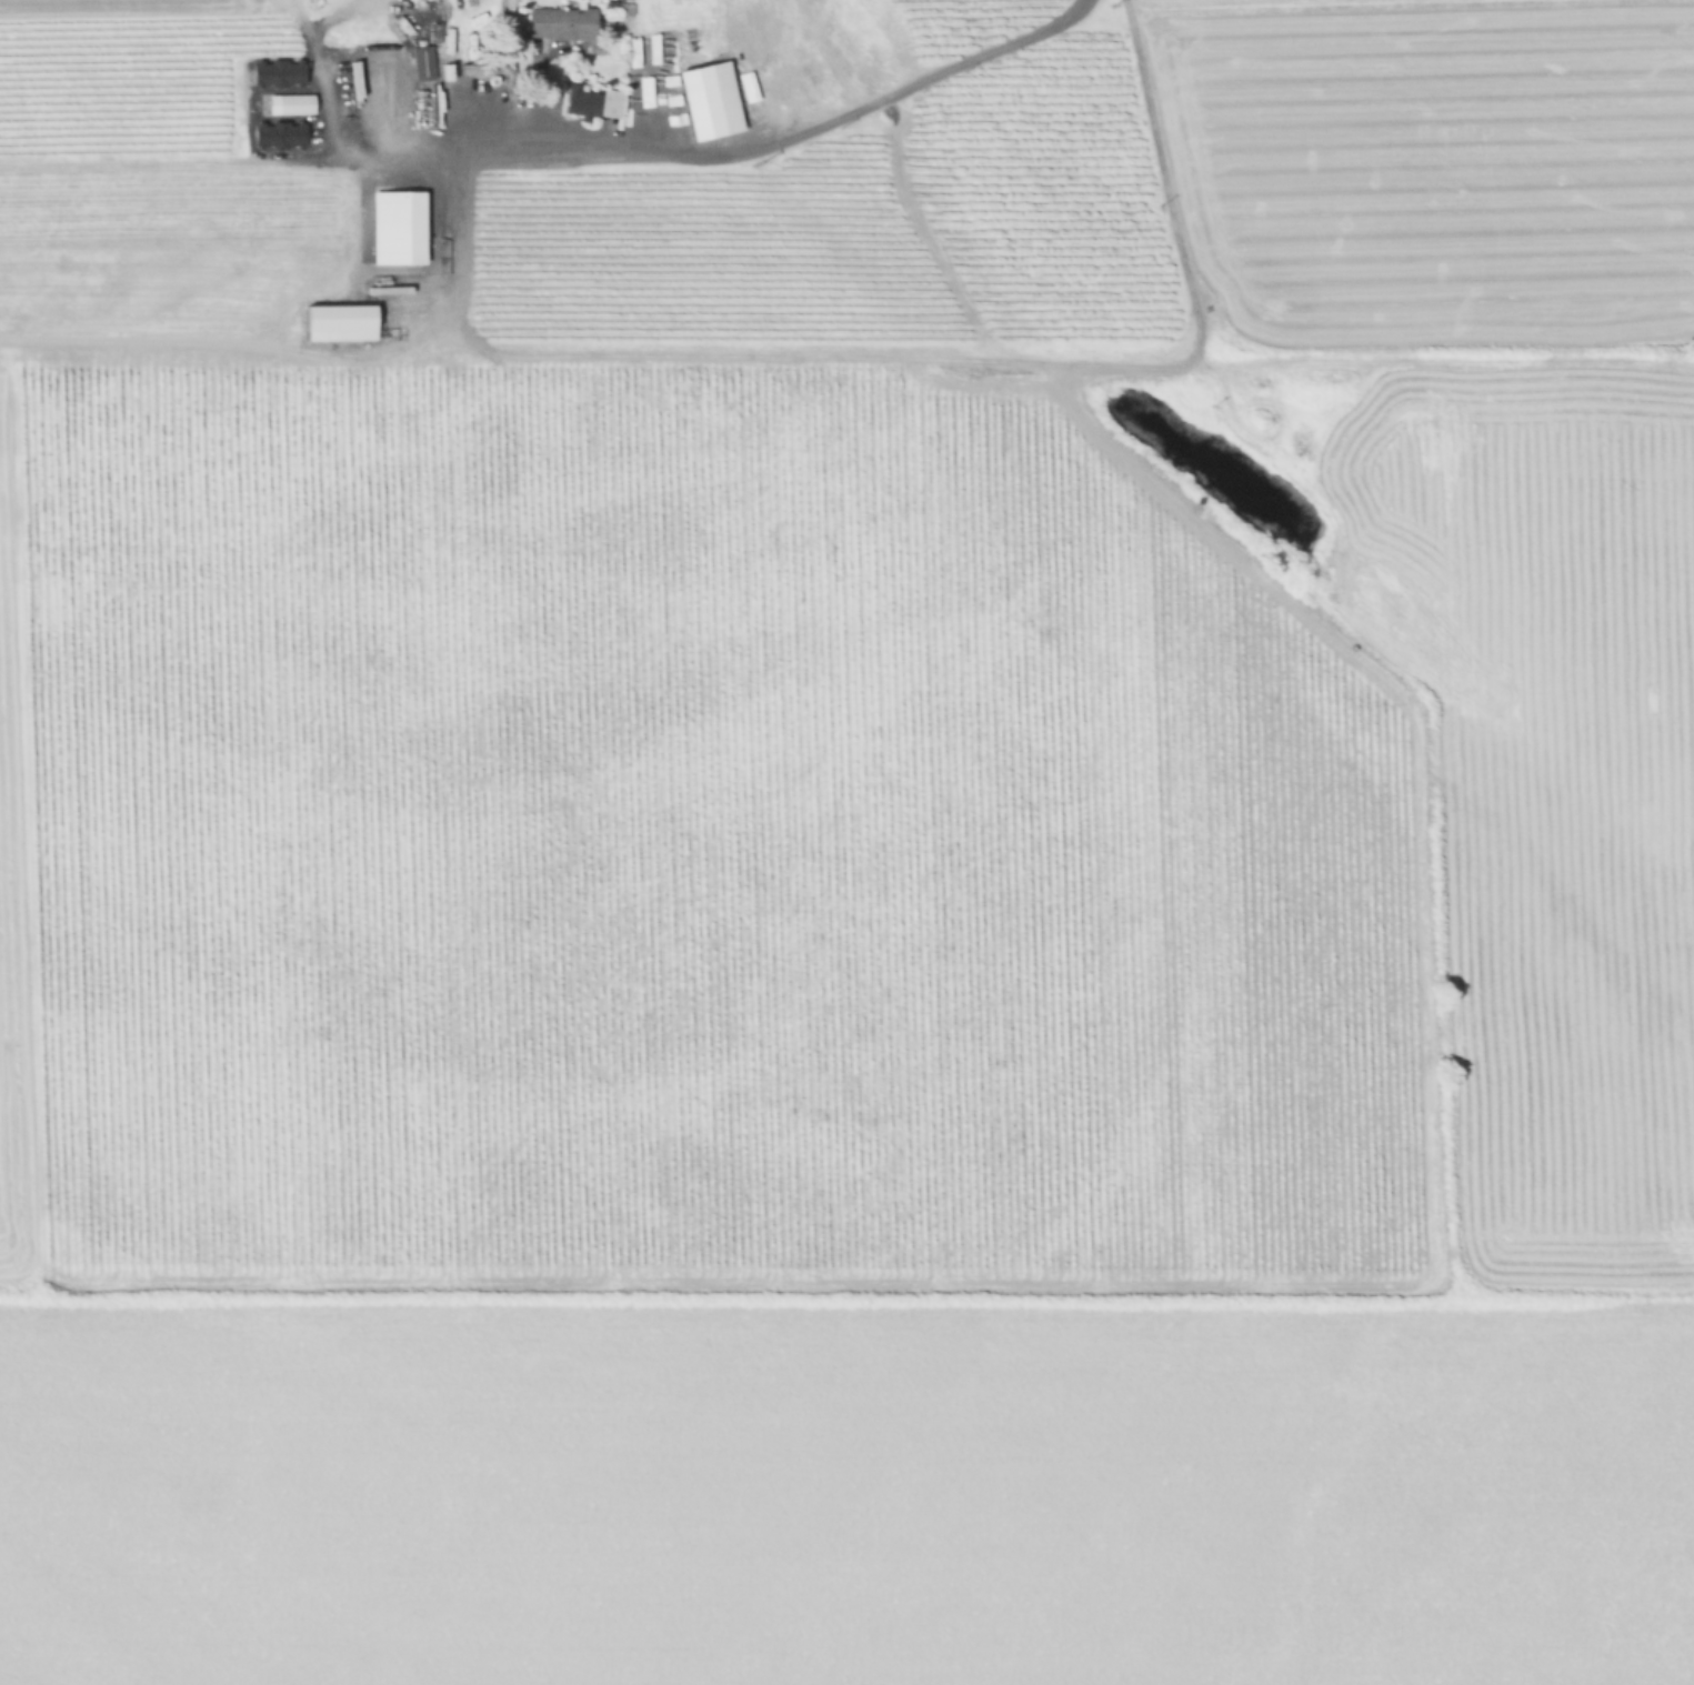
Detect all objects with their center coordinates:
building: (558, 23)
building: (369, 34)
building: (369, 61)
building: (420, 63)
building: (484, 70)
building: (273, 72)
building: (379, 90)
building: (591, 102)
building: (696, 102)
building: (291, 103)
building: (380, 119)
building: (424, 122)
building: (275, 134)
road: (781, 138)
building: (382, 147)
road: (347, 160)
building: (393, 228)
building: (333, 317)
crop: (1518, 760)
crop: (772, 851)

